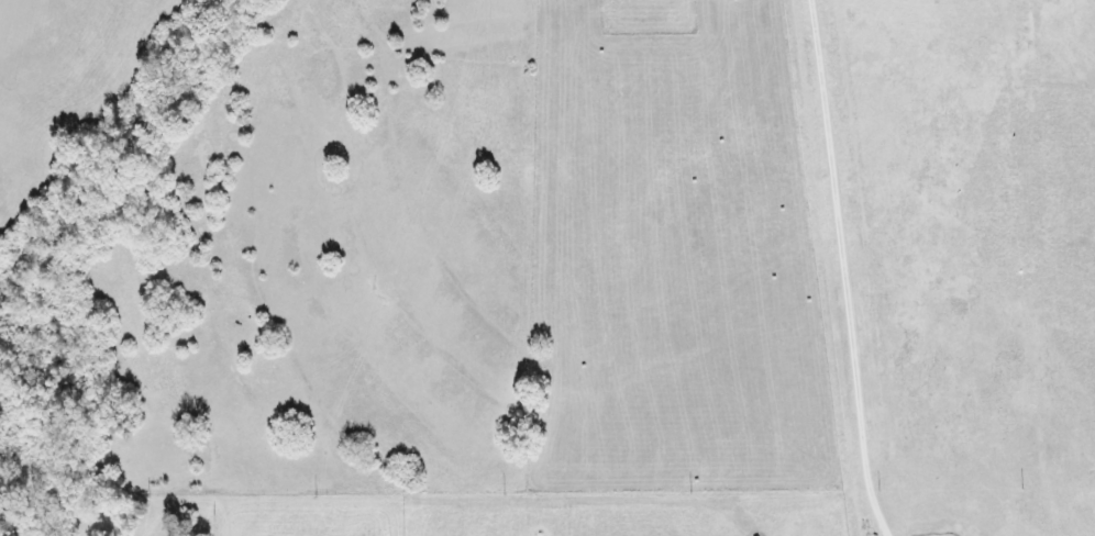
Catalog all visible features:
road: (838, 269)

